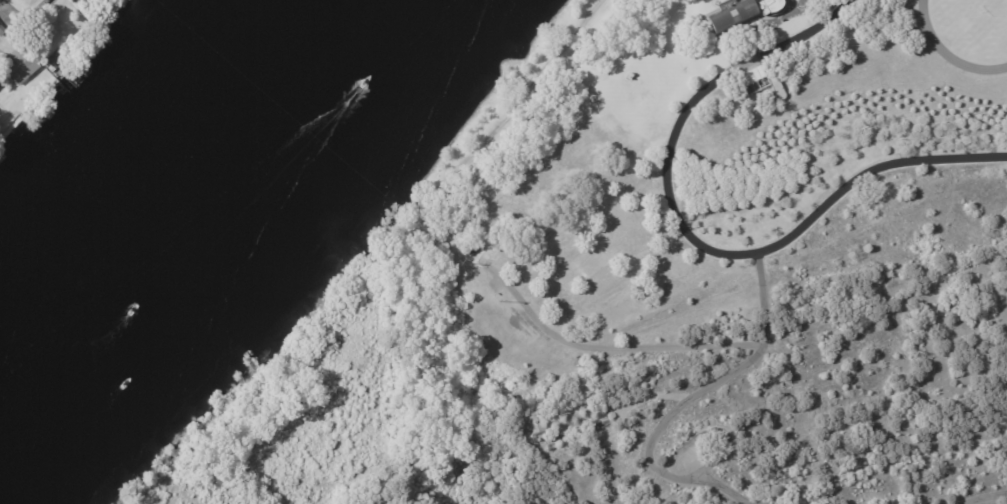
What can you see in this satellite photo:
park: (993, 14)
building: (736, 15)
park: (123, 18)
building: (2, 31)
track: (969, 34)
building: (18, 64)
road: (694, 237)
river: (218, 248)
building: (472, 253)
road: (609, 347)
road: (682, 403)
road: (981, 497)

